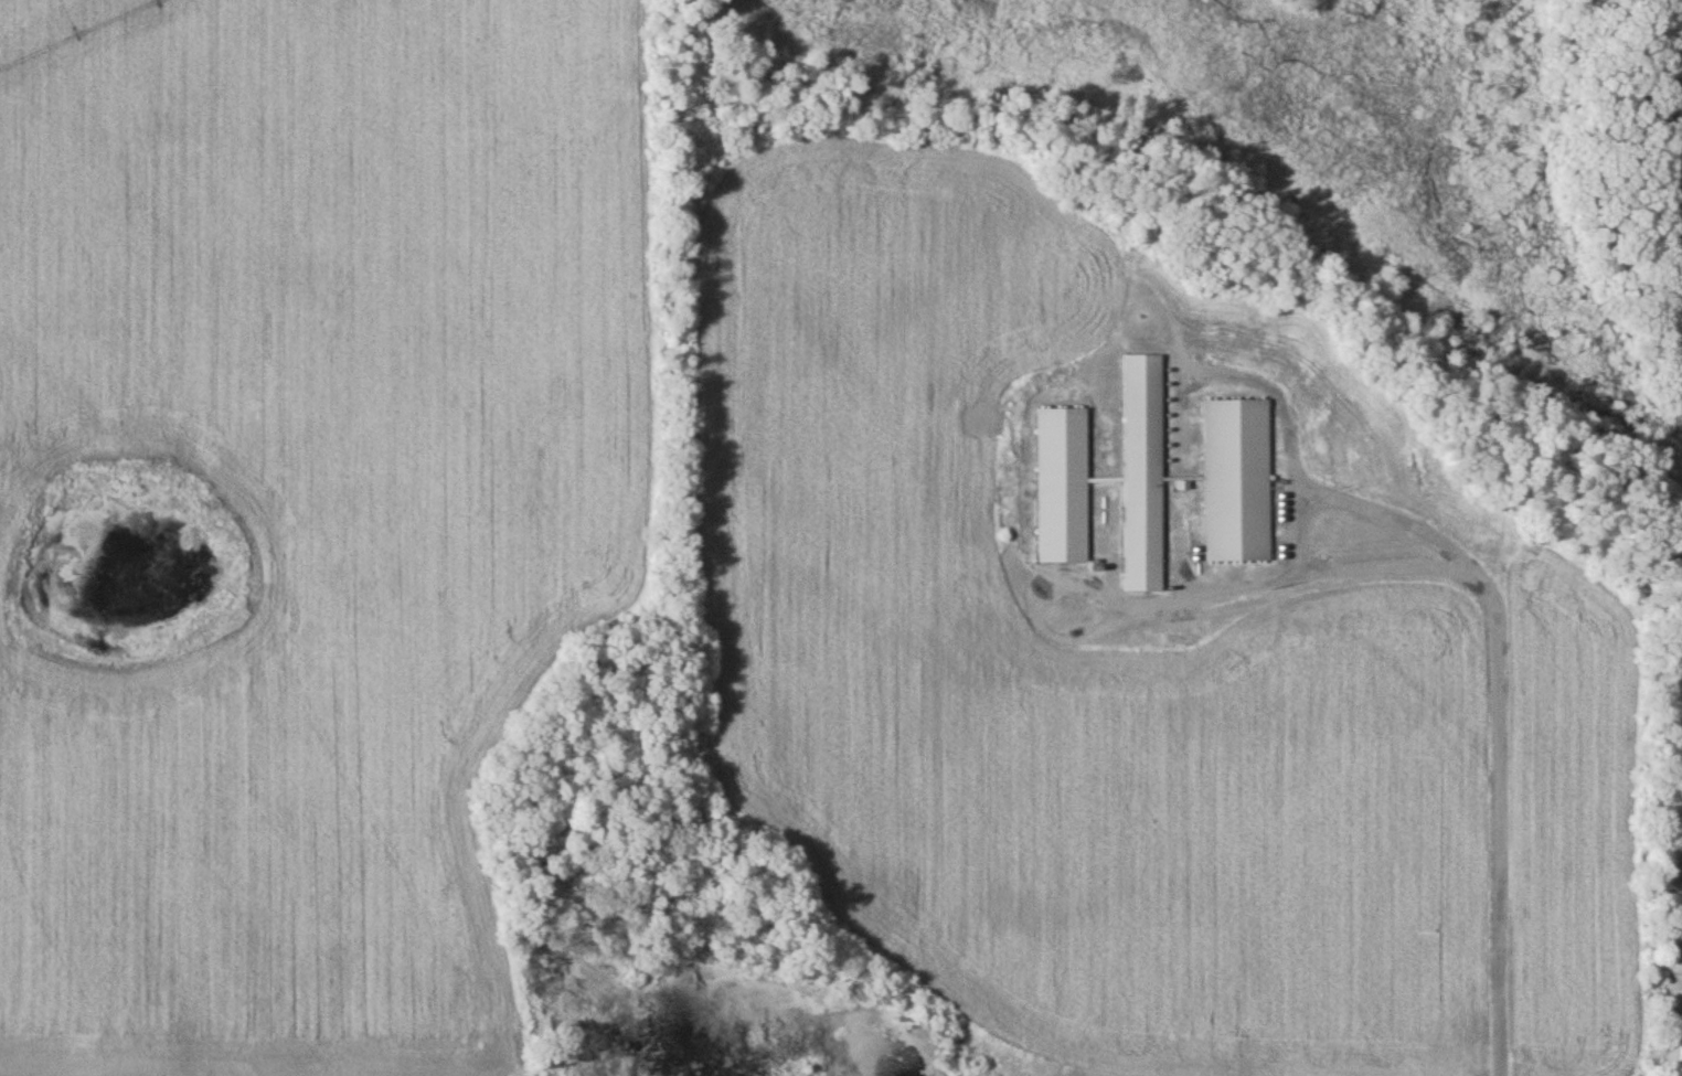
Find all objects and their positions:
building: (1141, 475)
building: (1235, 482)
building: (1061, 487)
building: (1680, 1050)

